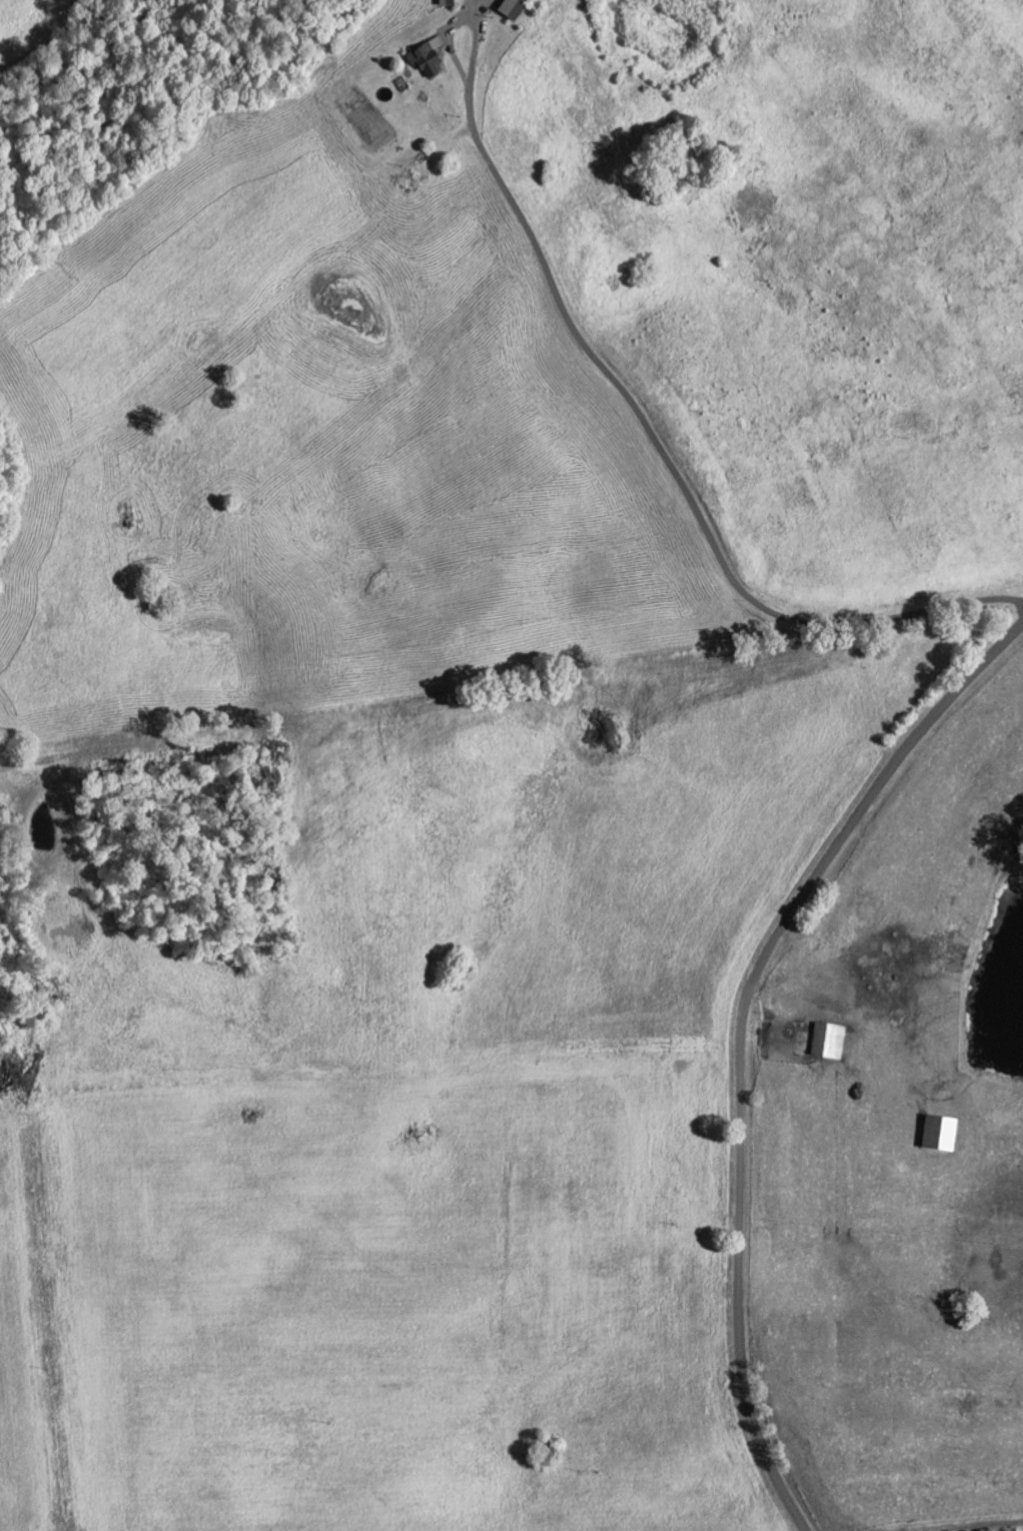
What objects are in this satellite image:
building: (448, 2)
building: (512, 7)
building: (426, 55)
park: (681, 152)
road: (660, 447)
road: (744, 1038)
building: (827, 1040)
building: (939, 1133)

